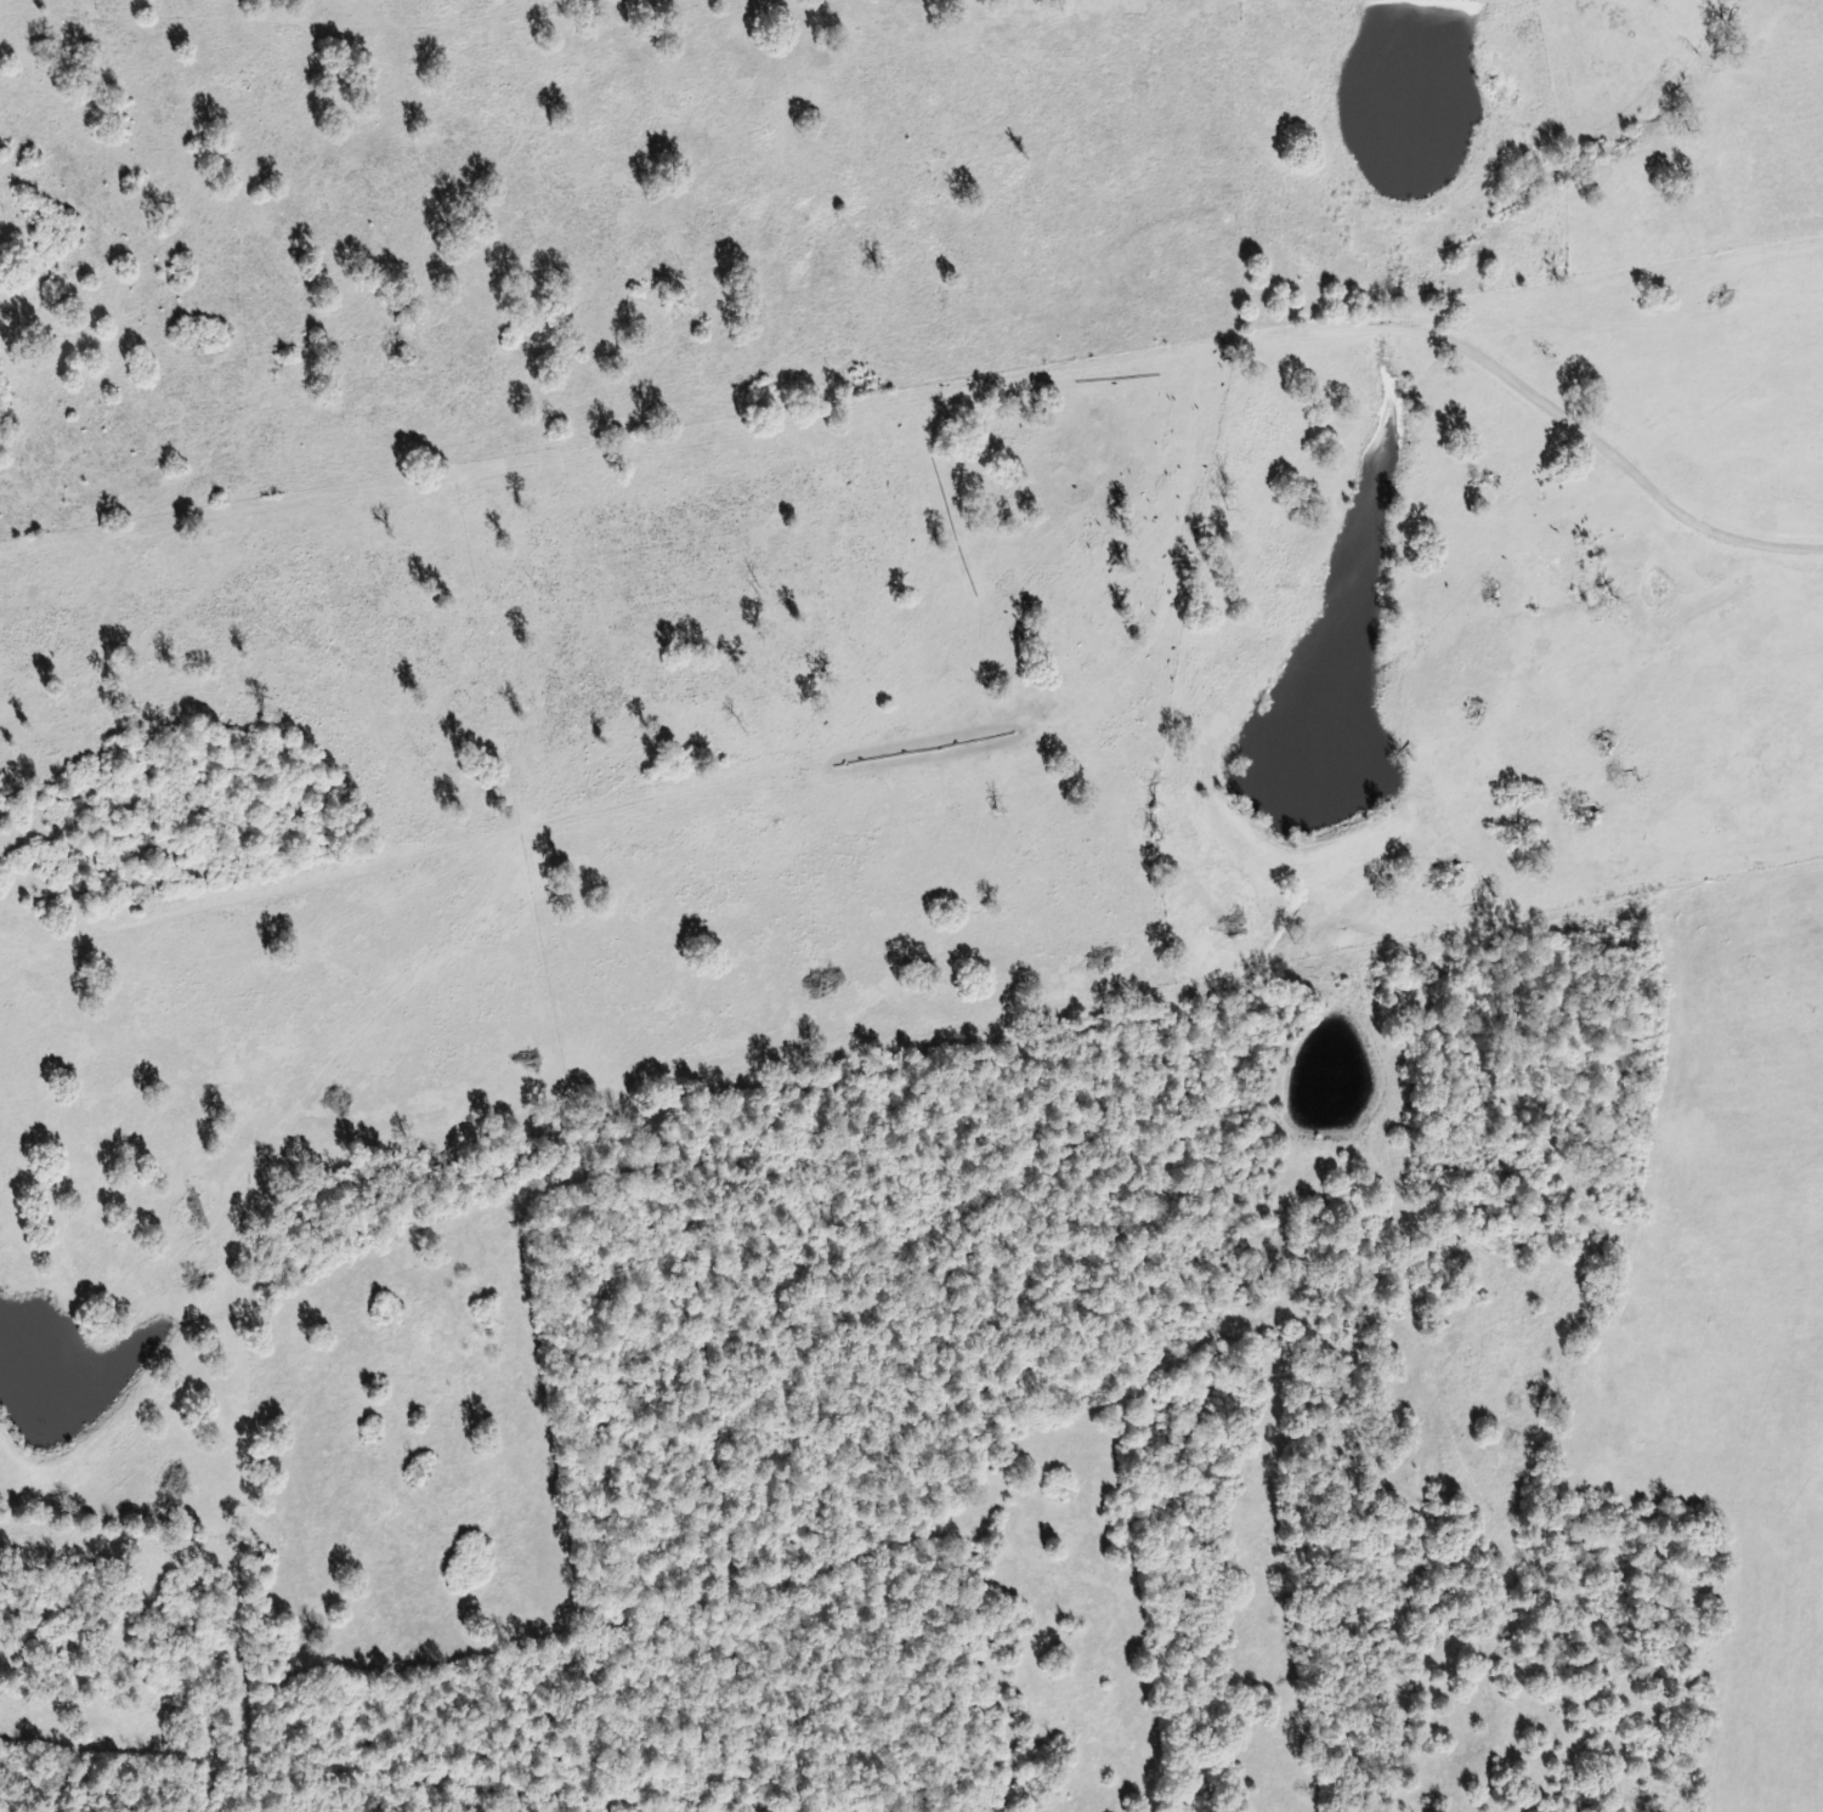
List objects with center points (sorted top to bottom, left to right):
road: (1733, 222)

